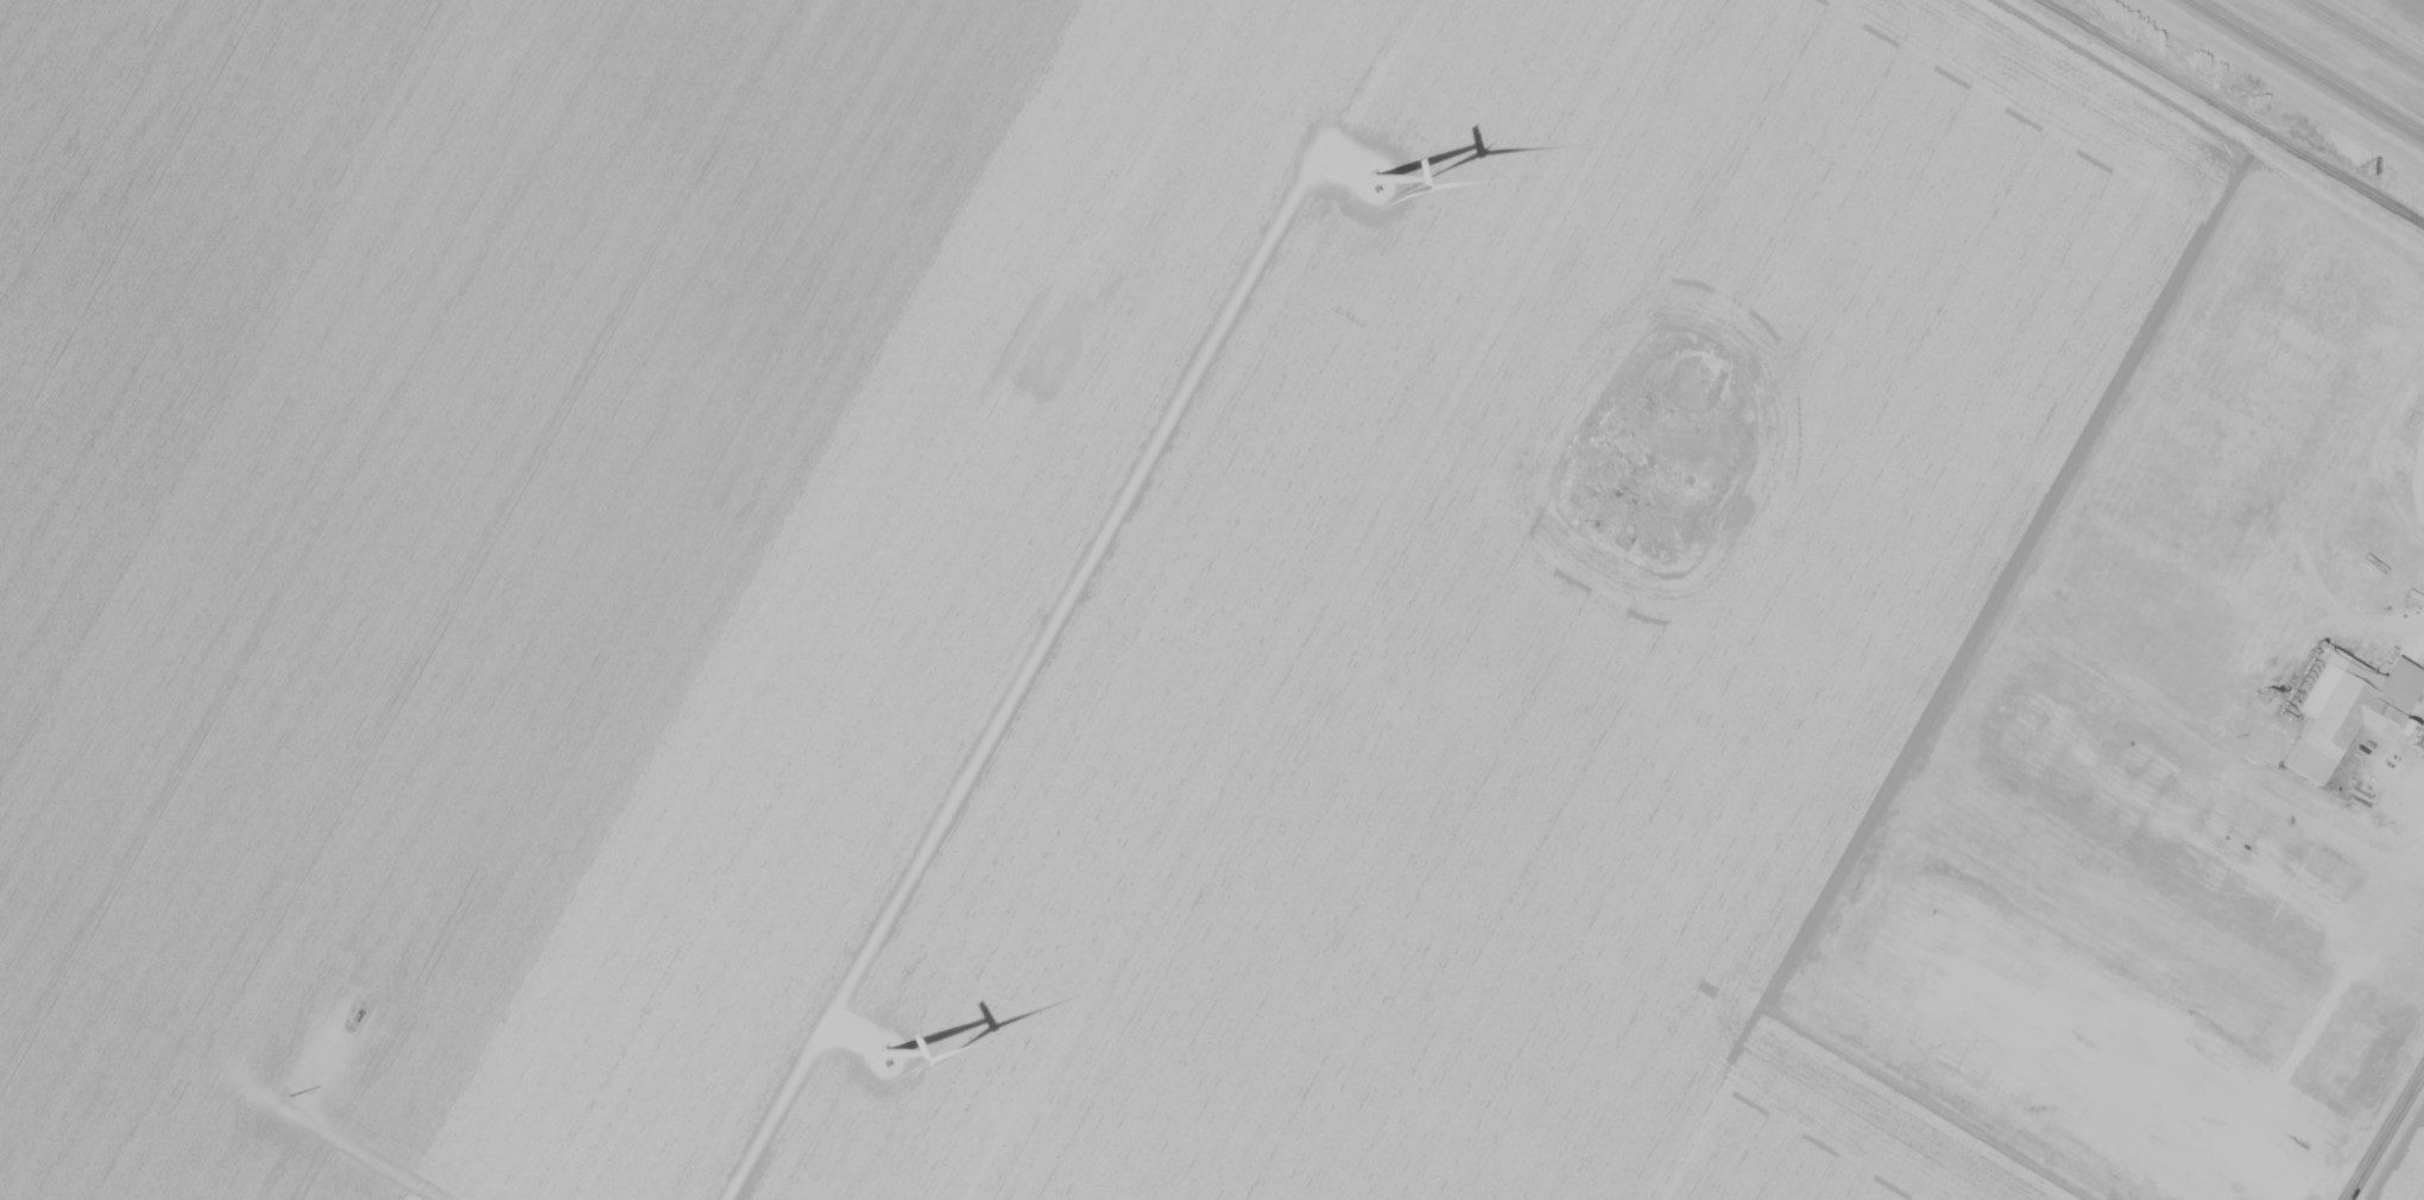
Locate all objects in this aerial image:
road: (2366, 33)
road: (2305, 70)
railway: (2233, 112)
wind turbine: (1401, 170)
building: (2416, 593)
road: (1018, 677)
building: (2352, 720)
wind turbine: (907, 1044)
power tower: (286, 1093)
road: (2385, 1133)

